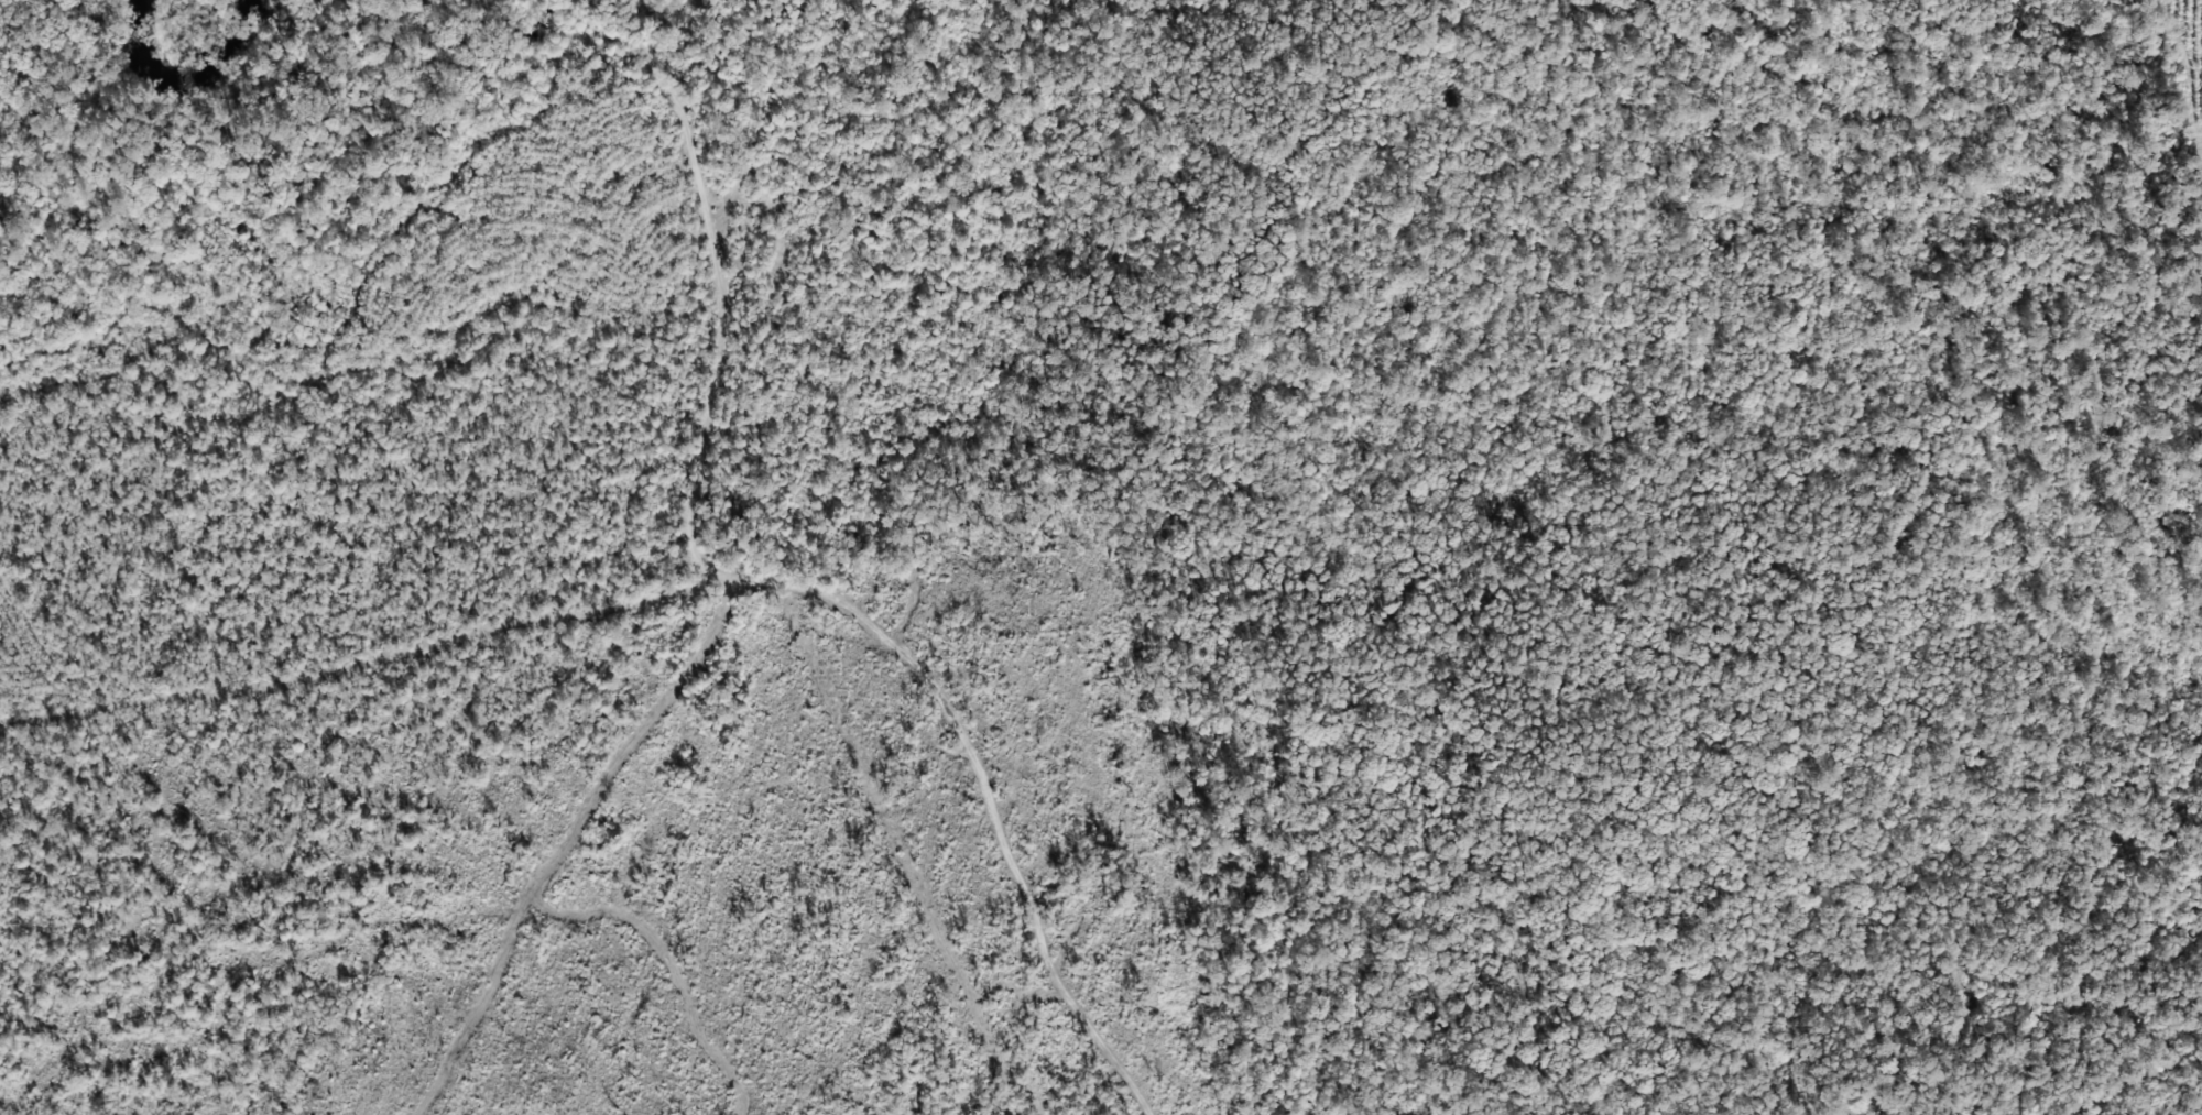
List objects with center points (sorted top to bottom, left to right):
road: (1098, 1051)

